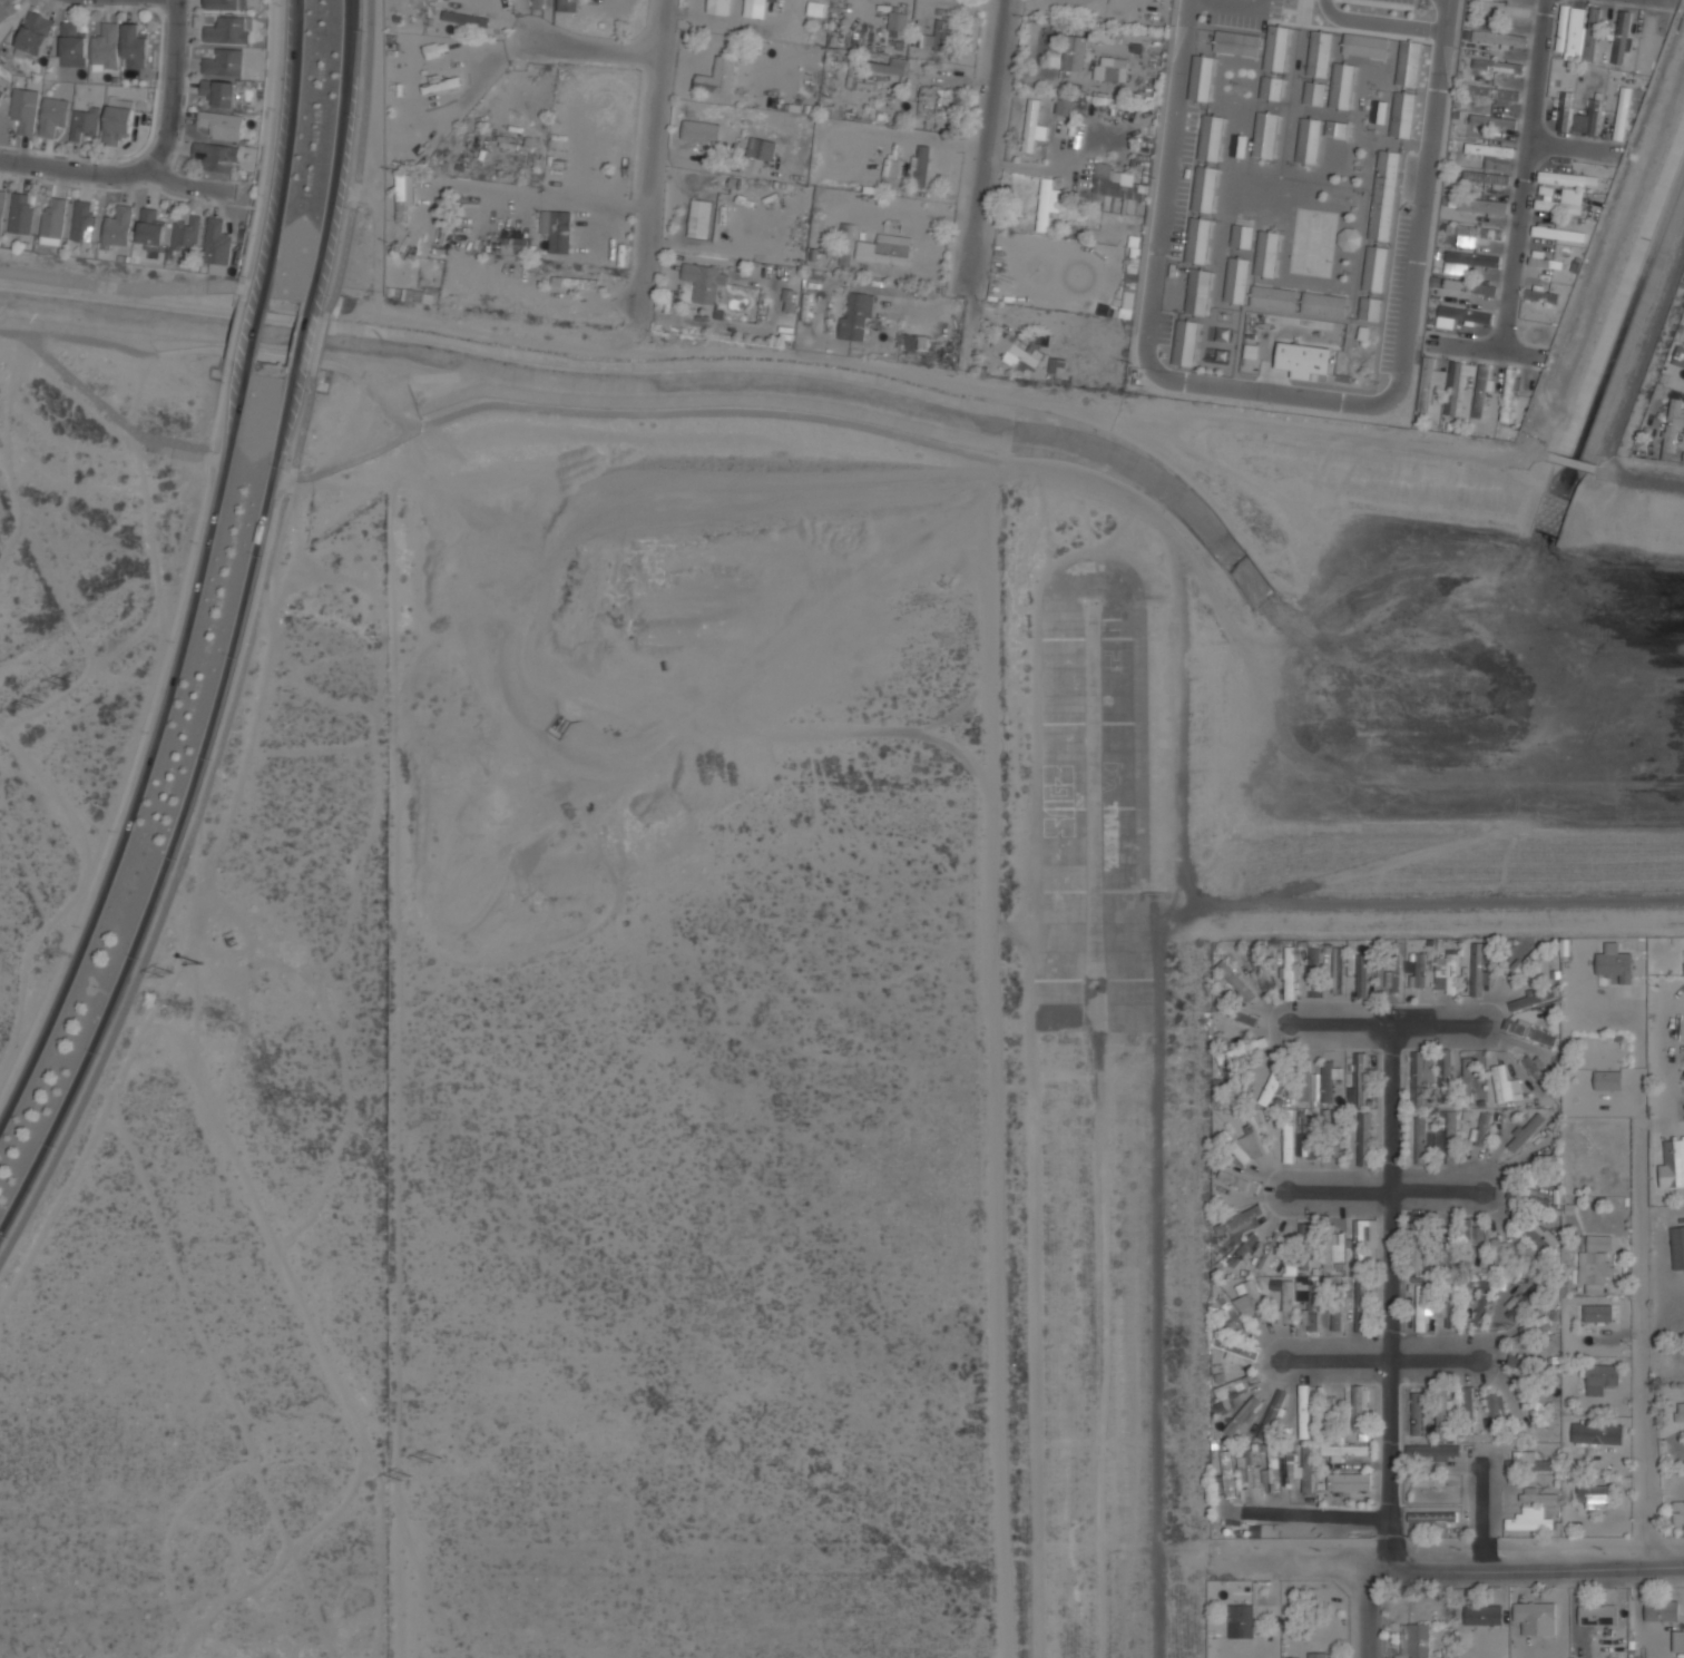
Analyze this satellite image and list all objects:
parking lot: (1400, 1)
road: (1233, 3)
building: (226, 4)
building: (568, 6)
building: (717, 7)
building: (756, 8)
building: (815, 8)
building: (6, 9)
building: (1506, 10)
parking lot: (1242, 12)
road: (1446, 16)
building: (466, 18)
building: (898, 21)
road: (1379, 22)
building: (1570, 29)
building: (227, 30)
building: (940, 33)
building: (1593, 33)
building: (33, 35)
building: (1622, 37)
building: (1498, 38)
building: (1647, 40)
building: (70, 41)
building: (1237, 43)
road: (593, 46)
building: (1365, 46)
building: (134, 47)
building: (105, 48)
building: (1276, 48)
building: (434, 49)
building: (1074, 52)
building: (1319, 53)
building: (224, 62)
building: (1408, 63)
building: (885, 66)
building: (1497, 66)
building: (1109, 70)
building: (717, 77)
building: (1201, 78)
building: (1341, 86)
building: (1271, 88)
road: (169, 90)
building: (218, 91)
building: (0, 92)
building: (1314, 94)
building: (1491, 94)
building: (936, 102)
building: (1064, 105)
building: (23, 109)
building: (1379, 111)
building: (1565, 111)
building: (1623, 114)
building: (1402, 115)
building: (52, 116)
building: (1588, 118)
building: (1492, 120)
building: (85, 124)
building: (117, 124)
building: (222, 125)
building: (1032, 126)
building: (1335, 128)
building: (702, 130)
road: (987, 135)
building: (1264, 135)
building: (604, 137)
building: (1211, 138)
building: (1308, 140)
building: (1238, 146)
building: (763, 148)
road: (286, 154)
building: (218, 156)
road: (650, 156)
road: (336, 157)
road: (358, 159)
building: (1490, 164)
building: (921, 166)
building: (890, 167)
road: (106, 169)
road: (1525, 176)
building: (1561, 178)
parking lot: (1182, 183)
building: (1116, 184)
building: (1204, 189)
building: (402, 195)
building: (1384, 195)
building: (1047, 203)
building: (1569, 204)
building: (1482, 205)
road: (1422, 207)
building: (1, 208)
building: (20, 214)
building: (698, 218)
building: (726, 220)
building: (84, 222)
building: (52, 223)
building: (117, 227)
building: (150, 229)
building: (557, 229)
building: (1558, 234)
building: (186, 235)
building: (1475, 235)
building: (1242, 236)
building: (1348, 238)
building: (1197, 241)
park: (1312, 243)
building: (217, 244)
building: (513, 245)
building: (884, 249)
building: (1266, 254)
building: (1469, 261)
building: (1546, 261)
building: (1374, 268)
building: (1236, 279)
building: (576, 282)
building: (704, 282)
building: (1469, 286)
parking lot: (1396, 291)
building: (1198, 292)
building: (1541, 295)
building: (1273, 297)
building: (1127, 302)
building: (1324, 304)
building: (1370, 308)
road: (1148, 314)
building: (1460, 315)
building: (855, 317)
parking lot: (1163, 326)
road: (253, 334)
road: (298, 341)
building: (913, 342)
building: (1185, 342)
road: (320, 344)
road: (218, 350)
building: (1017, 352)
building: (1678, 357)
building: (1303, 360)
road: (897, 372)
building: (1429, 383)
building: (1453, 386)
building: (1481, 391)
building: (1508, 395)
road: (115, 413)
road: (634, 413)
building: (1672, 425)
road: (1570, 460)
road: (1638, 477)
dam: (1653, 489)
power tower: (67, 681)
power tower: (37, 703)
road: (150, 754)
road: (970, 759)
road: (182, 813)
road: (193, 828)
dam: (1452, 894)
power tower: (195, 954)
building: (1525, 962)
building: (1614, 963)
building: (1313, 968)
building: (1337, 970)
building: (1477, 970)
power tower: (164, 971)
building: (1259, 971)
building: (1419, 971)
building: (1290, 973)
building: (1394, 973)
building: (1447, 974)
building: (1361, 975)
building: (1235, 980)
building: (1531, 999)
building: (1242, 1016)
road: (1383, 1026)
road: (1156, 1029)
building: (1529, 1033)
building: (1242, 1051)
road: (1635, 1054)
building: (1536, 1069)
building: (1467, 1071)
building: (1418, 1078)
building: (1359, 1080)
building: (1607, 1080)
building: (1326, 1082)
building: (1501, 1085)
building: (1304, 1086)
building: (1237, 1088)
building: (1273, 1089)
building: (1481, 1129)
building: (1525, 1131)
building: (1288, 1136)
building: (1359, 1137)
building: (1450, 1137)
building: (1311, 1138)
building: (1255, 1139)
building: (1421, 1140)
building: (1337, 1146)
building: (1233, 1147)
building: (1673, 1164)
building: (1237, 1181)
road: (1382, 1189)
building: (1528, 1199)
building: (1238, 1219)
building: (1244, 1228)
building: (1683, 1233)
building: (1538, 1236)
building: (1359, 1239)
building: (1467, 1242)
building: (1417, 1243)
building: (1305, 1246)
building: (1330, 1249)
building: (1243, 1250)
building: (1270, 1252)
building: (1443, 1253)
building: (1497, 1255)
building: (1594, 1266)
building: (1285, 1297)
road: (1391, 1297)
building: (1310, 1301)
building: (1252, 1303)
building: (1449, 1303)
building: (1480, 1303)
building: (1361, 1305)
building: (1515, 1306)
building: (1421, 1308)
building: (1337, 1309)
building: (1232, 1312)
building: (1598, 1313)
road: (1644, 1343)
building: (1236, 1351)
road: (1378, 1358)
building: (1517, 1363)
building: (1600, 1377)
building: (1236, 1385)
building: (1536, 1402)
building: (1359, 1409)
building: (1303, 1411)
building: (1496, 1411)
building: (1680, 1412)
building: (1441, 1413)
building: (1468, 1413)
building: (1272, 1414)
building: (1330, 1414)
building: (1416, 1414)
building: (1242, 1416)
building: (1597, 1434)
building: (1344, 1451)
building: (1432, 1452)
power tower: (434, 1458)
building: (1528, 1463)
building: (1302, 1466)
building: (1272, 1469)
building: (1249, 1470)
power tower: (404, 1476)
building: (1225, 1479)
building: (1436, 1480)
building: (1349, 1482)
building: (1538, 1494)
building: (1594, 1494)
road: (1315, 1514)
road: (1482, 1514)
building: (1678, 1514)
building: (1431, 1517)
building: (1529, 1523)
road: (1451, 1570)
building: (1662, 1610)
building: (1538, 1611)
road: (1365, 1613)
building: (1482, 1615)
building: (1595, 1618)
building: (1241, 1621)
building: (1416, 1640)
building: (1678, 1641)
building: (1318, 1655)
building: (1296, 1657)

